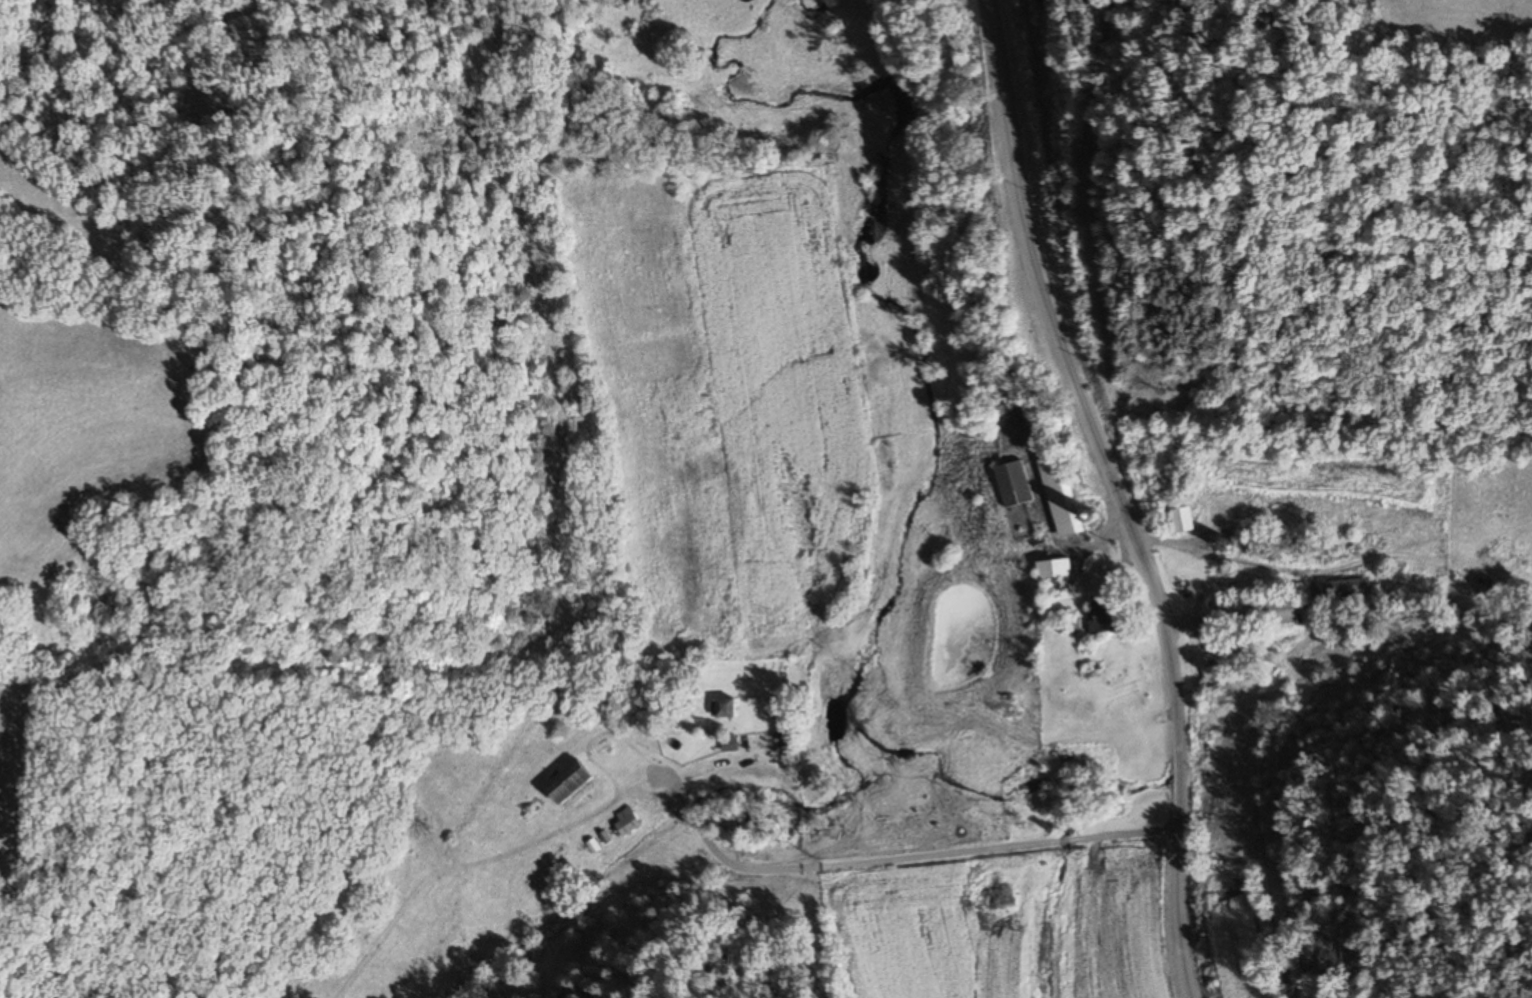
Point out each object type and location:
building: (1013, 484)
road: (1120, 493)
building: (1061, 497)
building: (1180, 520)
building: (1242, 541)
building: (1295, 547)
building: (1056, 574)
building: (1347, 591)
building: (1251, 613)
building: (1101, 617)
building: (1214, 676)
building: (722, 708)
building: (1101, 755)
building: (564, 783)
building: (625, 822)
road: (903, 855)

